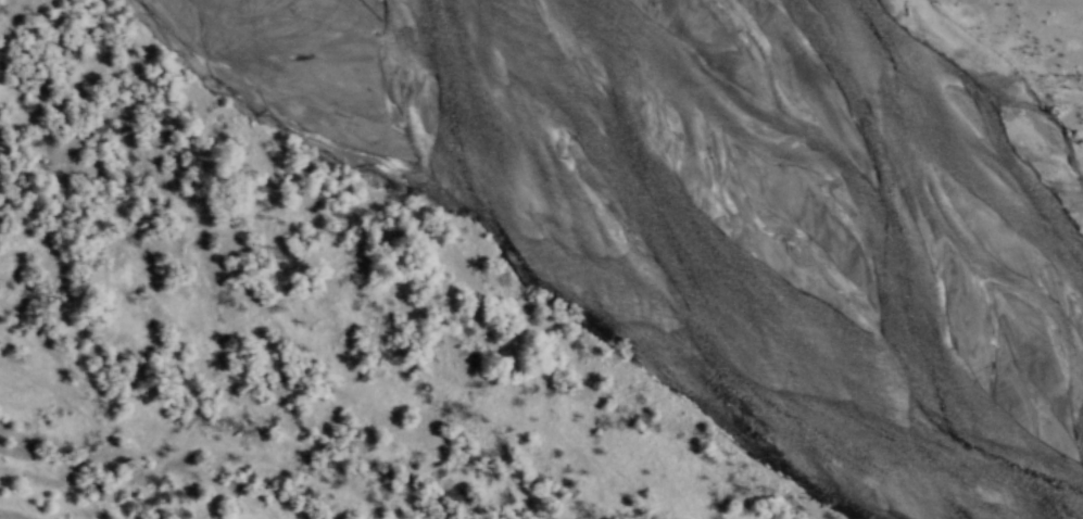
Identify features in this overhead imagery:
river: (844, 249)

